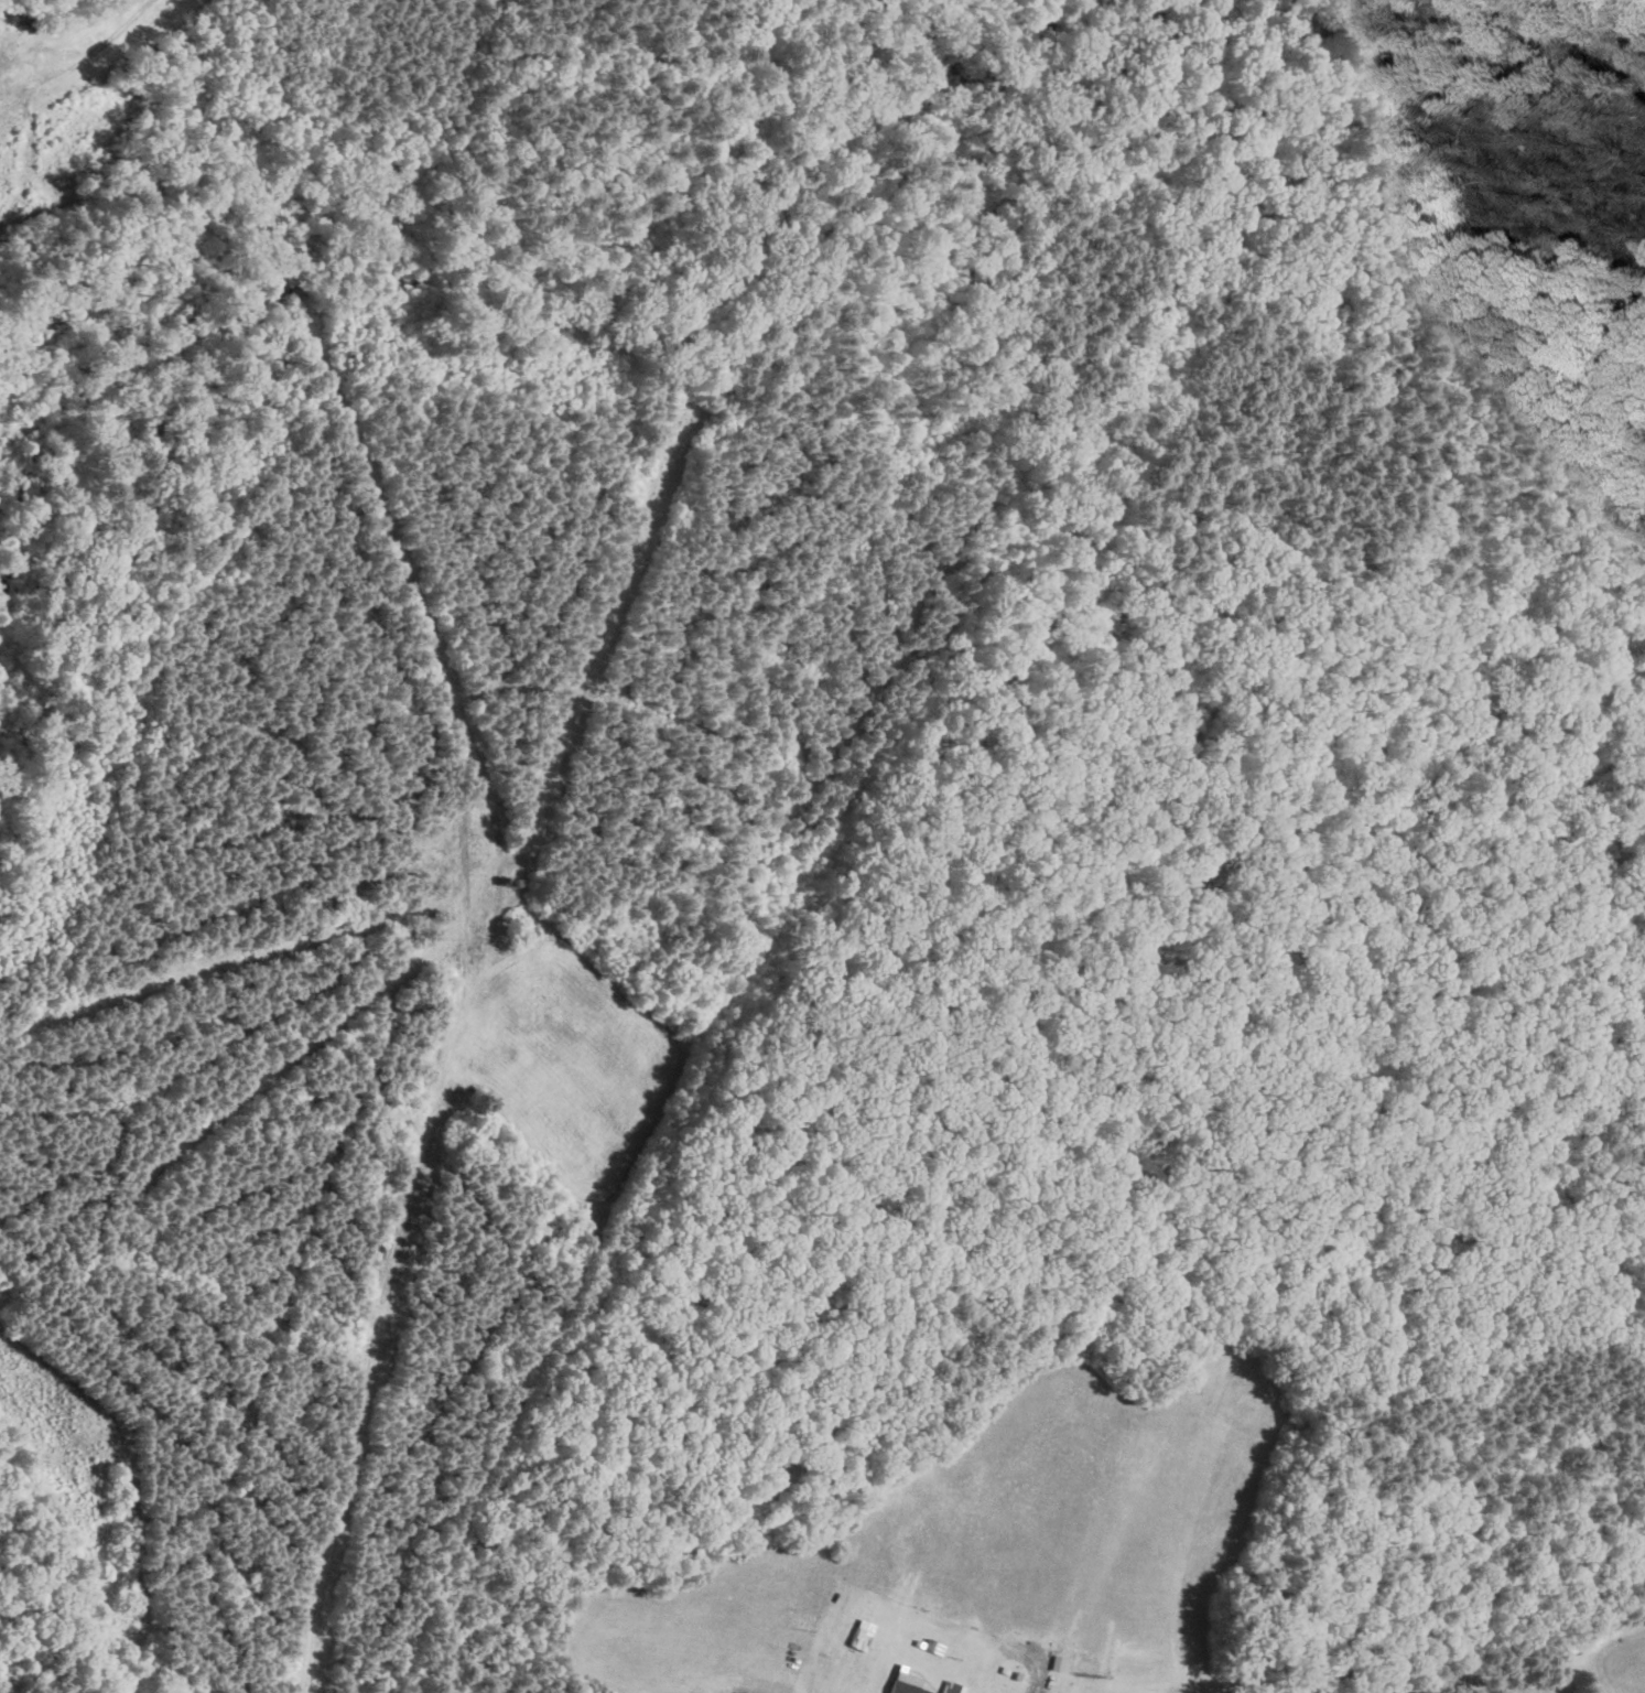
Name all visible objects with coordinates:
building: (862, 1640)
building: (907, 1685)
building: (955, 1689)

